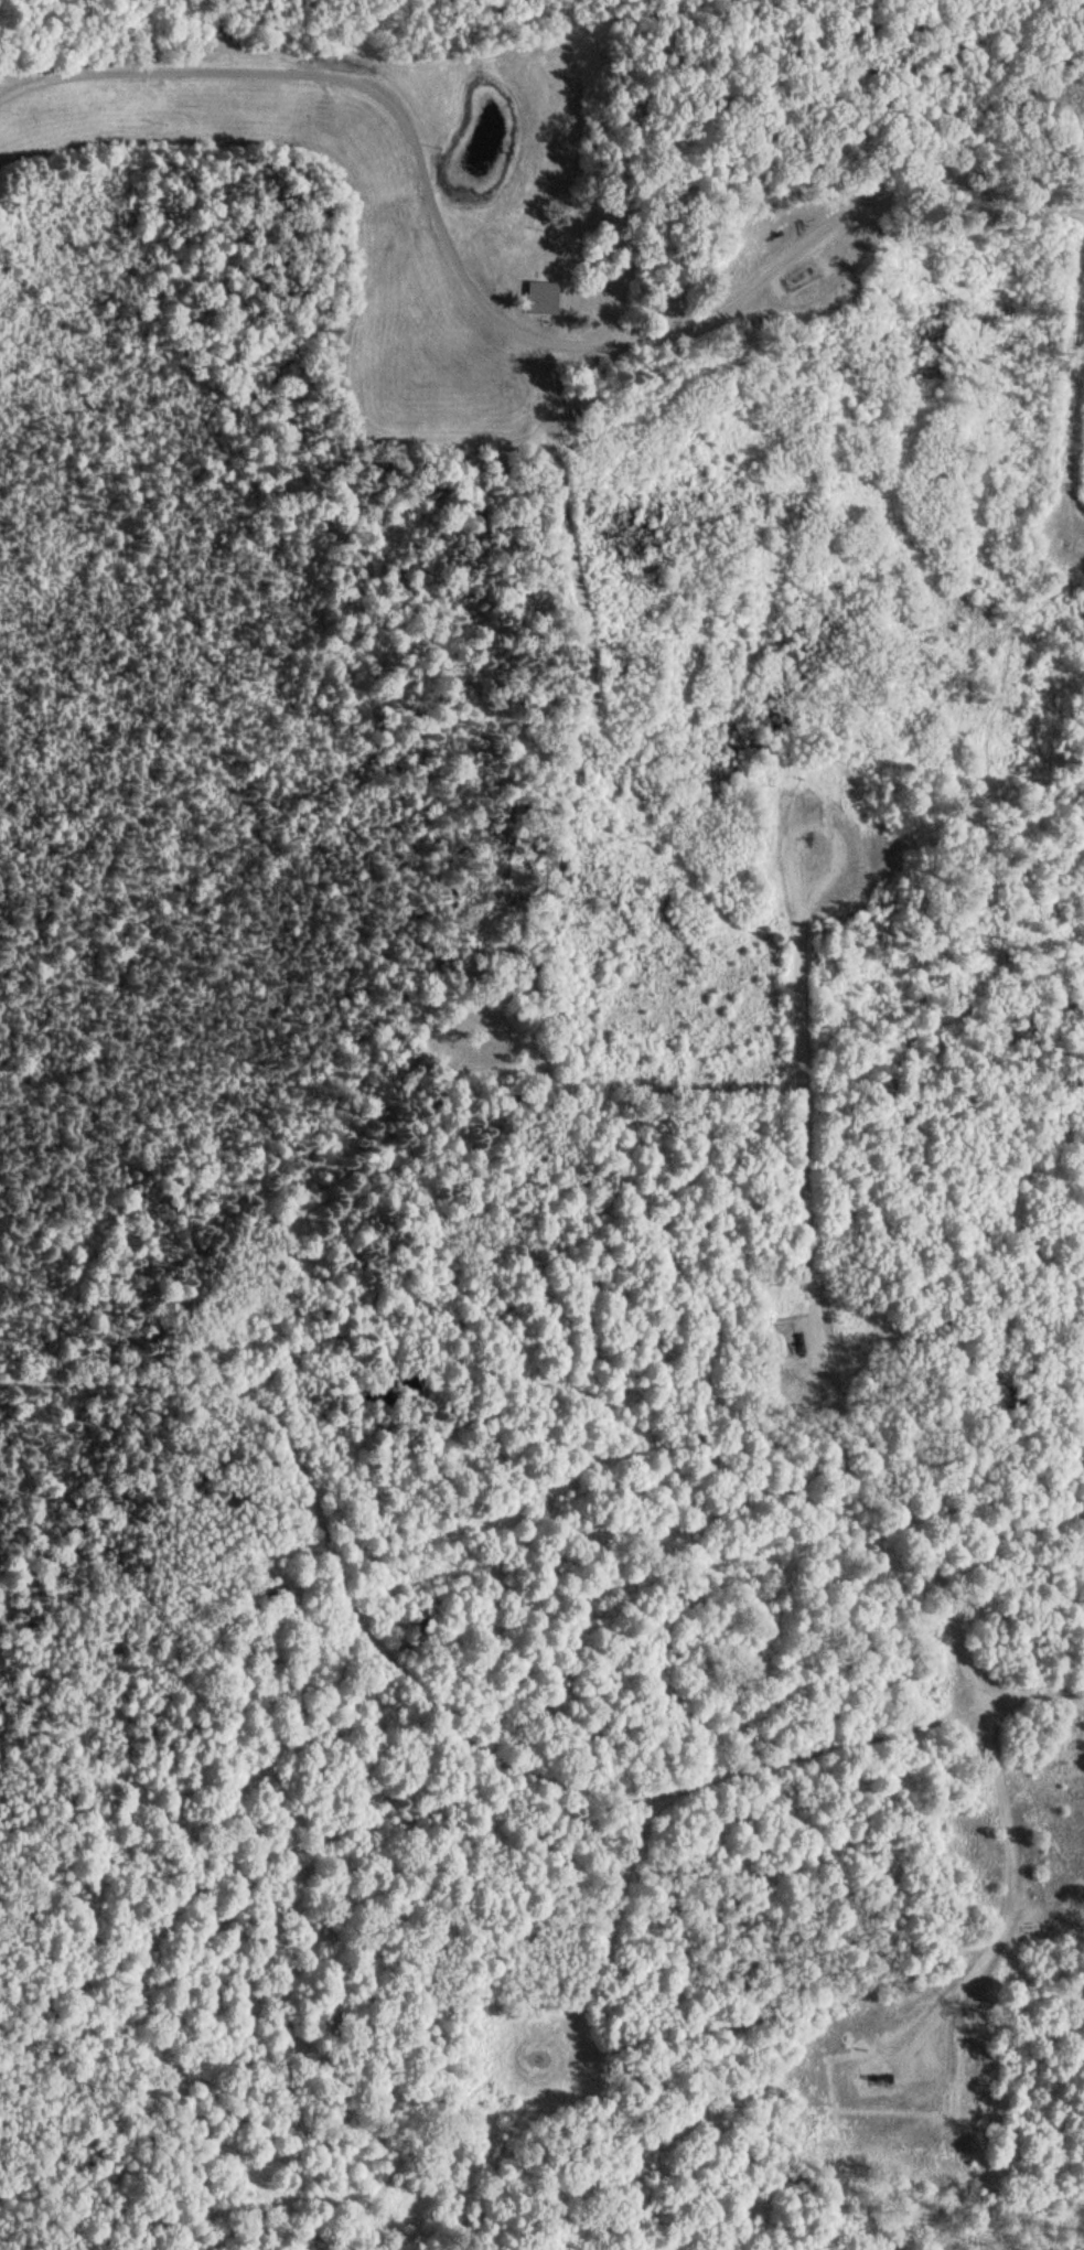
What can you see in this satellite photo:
petroleum well: (795, 271)
building: (538, 299)
road: (490, 332)
road: (813, 1314)
petroleum well: (792, 1348)
road: (470, 1751)
road: (612, 1903)
petroleum well: (878, 2080)

